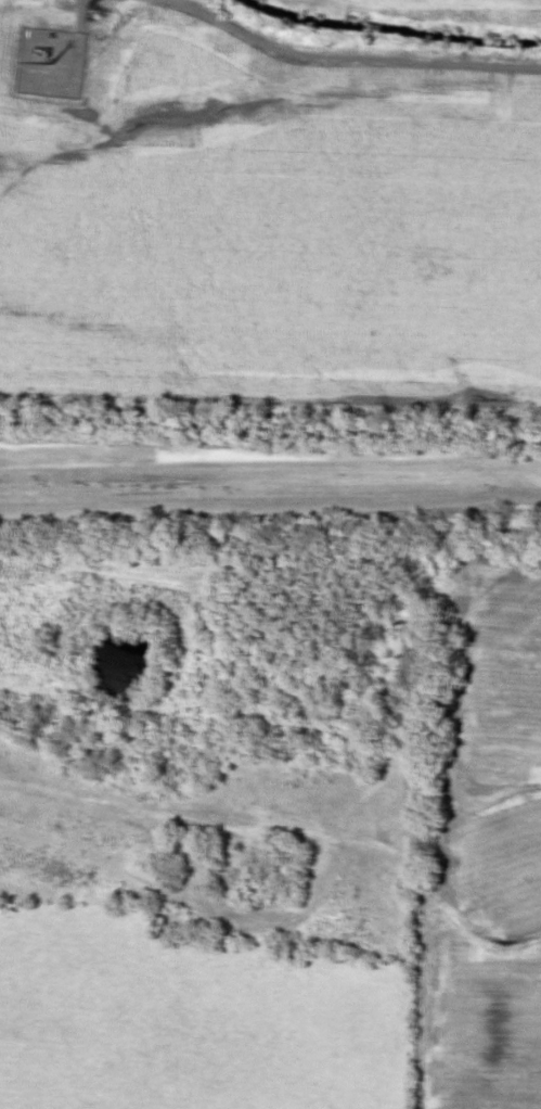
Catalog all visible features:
road: (270, 569)
road: (420, 973)

